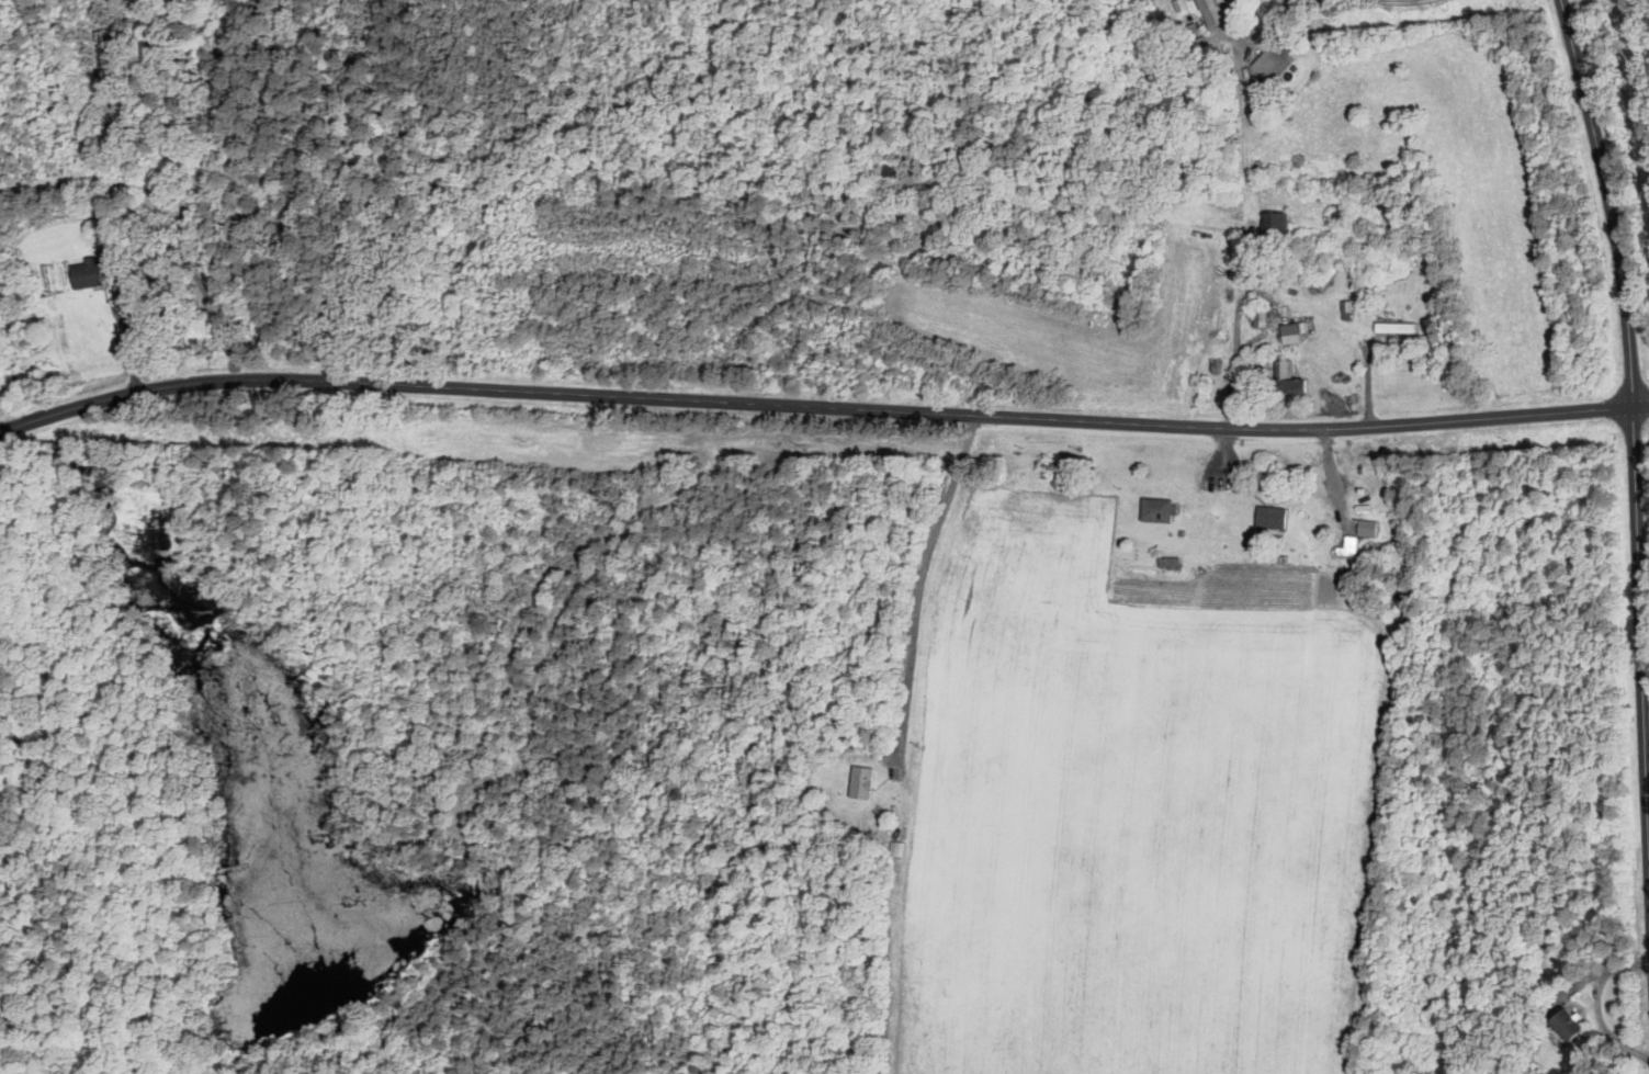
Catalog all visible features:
road: (1356, 0)
building: (1209, 10)
road: (1250, 200)
building: (92, 272)
building: (1392, 326)
building: (1291, 332)
road: (132, 347)
building: (1283, 369)
road: (1641, 405)
road: (815, 407)
road: (1636, 496)
building: (1156, 510)
building: (1270, 517)
building: (1366, 527)
building: (1349, 544)
building: (1168, 558)
building: (1141, 566)
road: (920, 590)
building: (868, 781)
building: (895, 846)
building: (1561, 1021)

